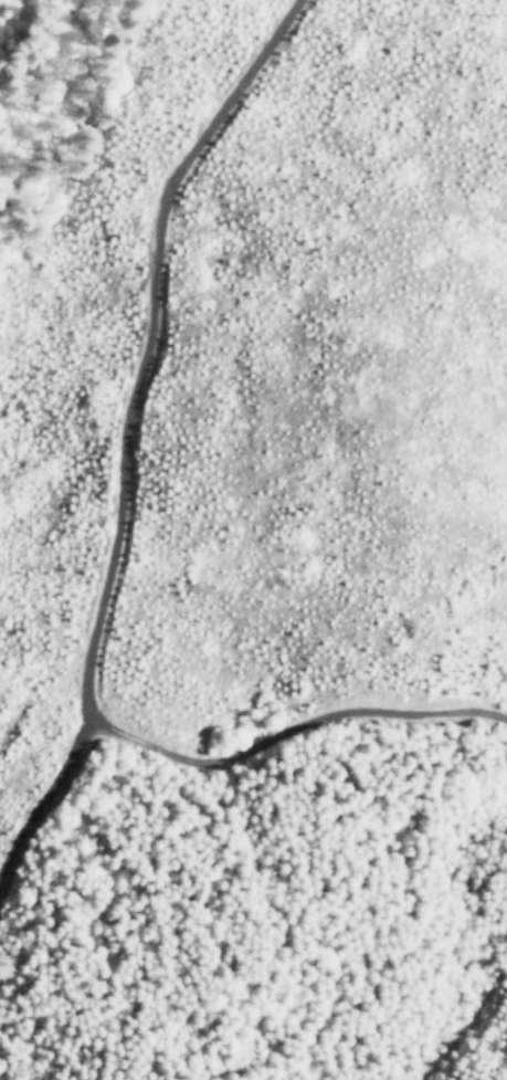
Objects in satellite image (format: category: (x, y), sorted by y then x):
road: (116, 437)
road: (293, 722)

